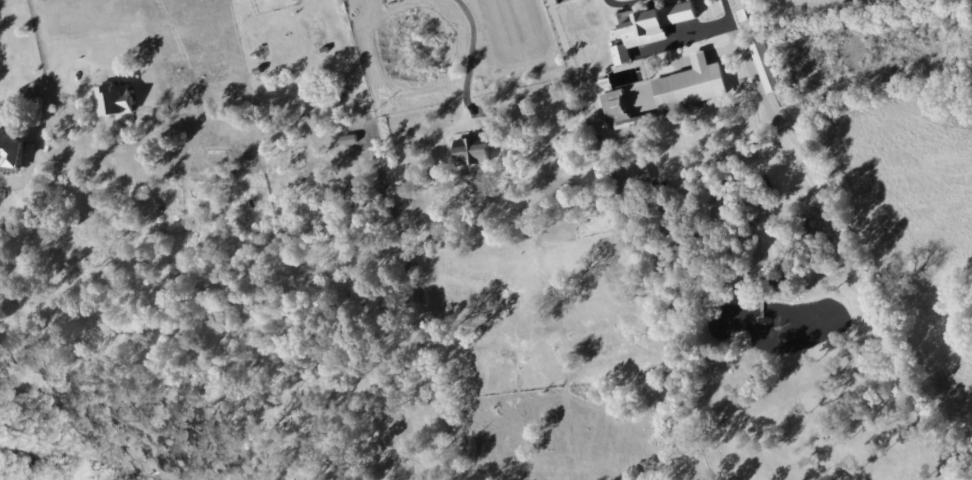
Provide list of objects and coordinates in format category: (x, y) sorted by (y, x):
building: (651, 27)
road: (39, 40)
road: (468, 58)
building: (766, 64)
building: (692, 83)
building: (117, 98)
building: (616, 108)
road: (780, 110)
building: (348, 138)
building: (13, 149)
building: (476, 150)
building: (636, 177)

